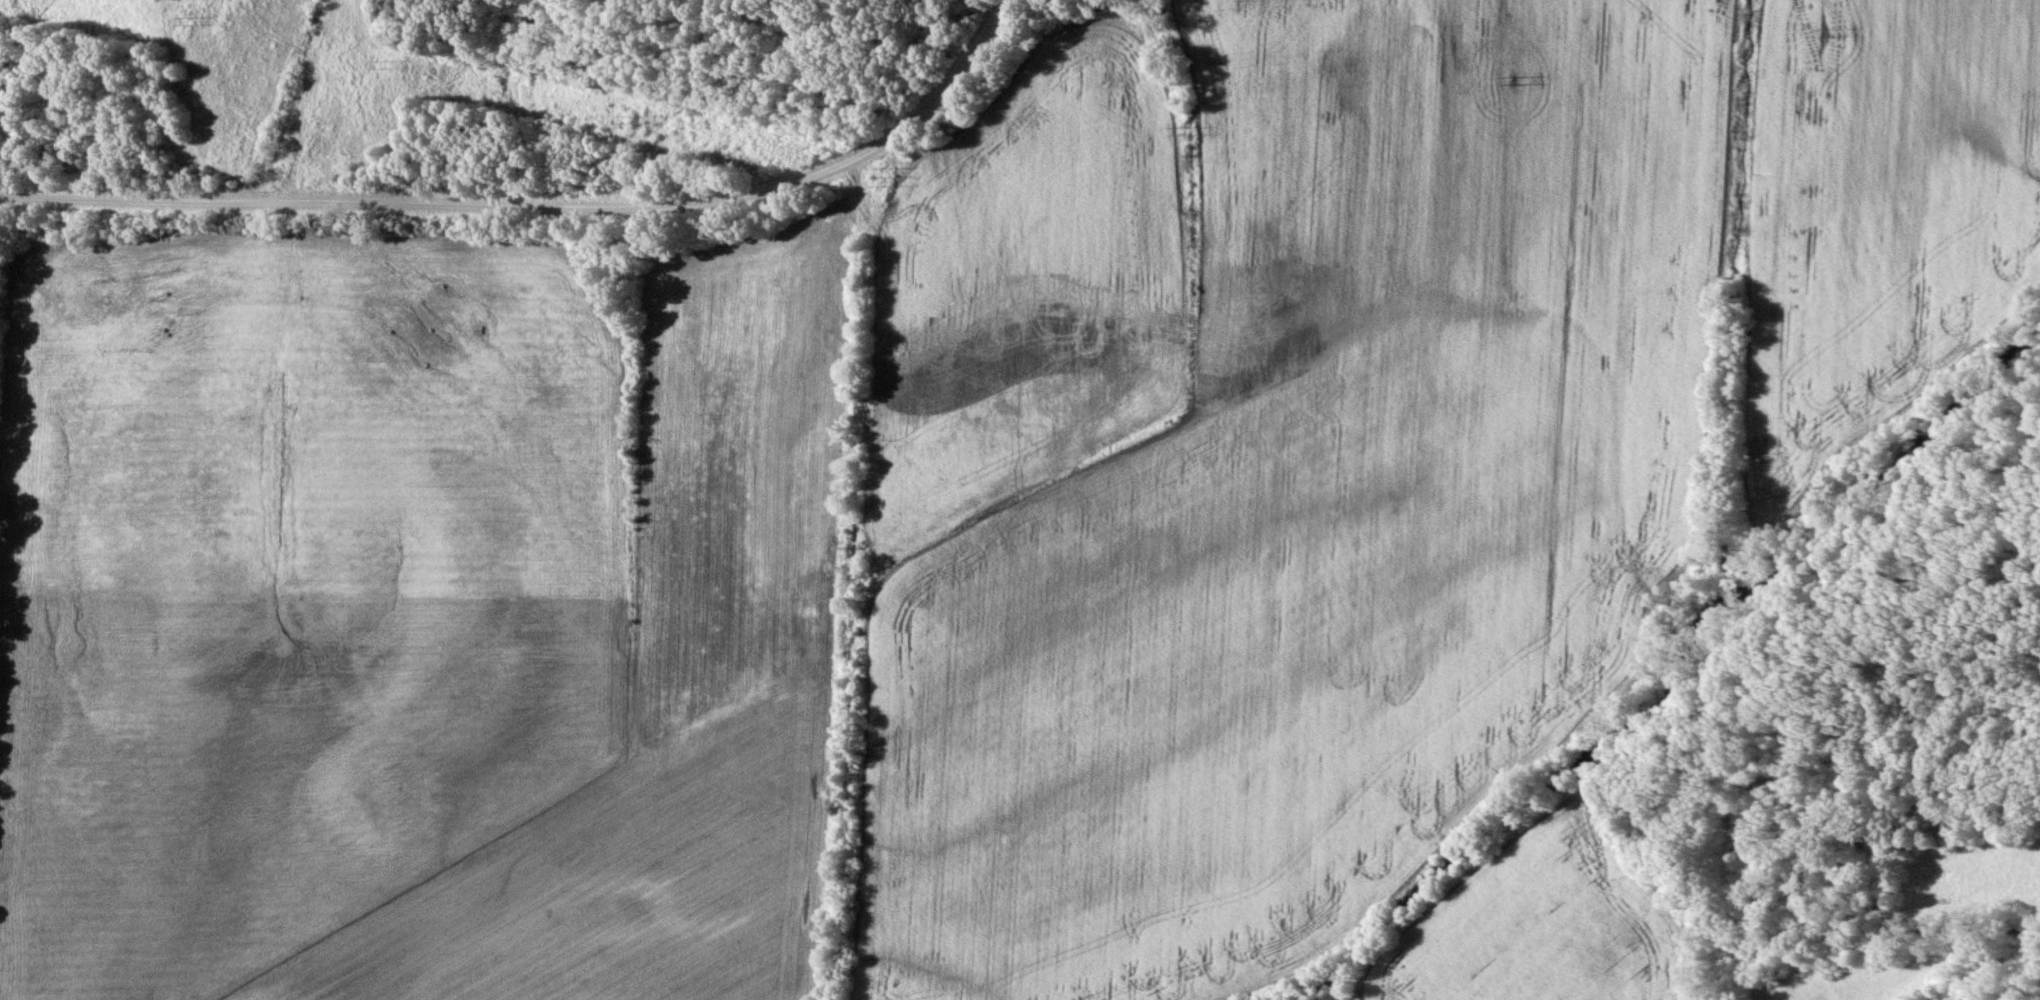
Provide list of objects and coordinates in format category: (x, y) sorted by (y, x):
power tower: (188, 21)
power tower: (1822, 34)
power tower: (385, 67)
power tower: (1508, 80)
power tower: (628, 119)
power tower: (854, 174)
road: (543, 209)

